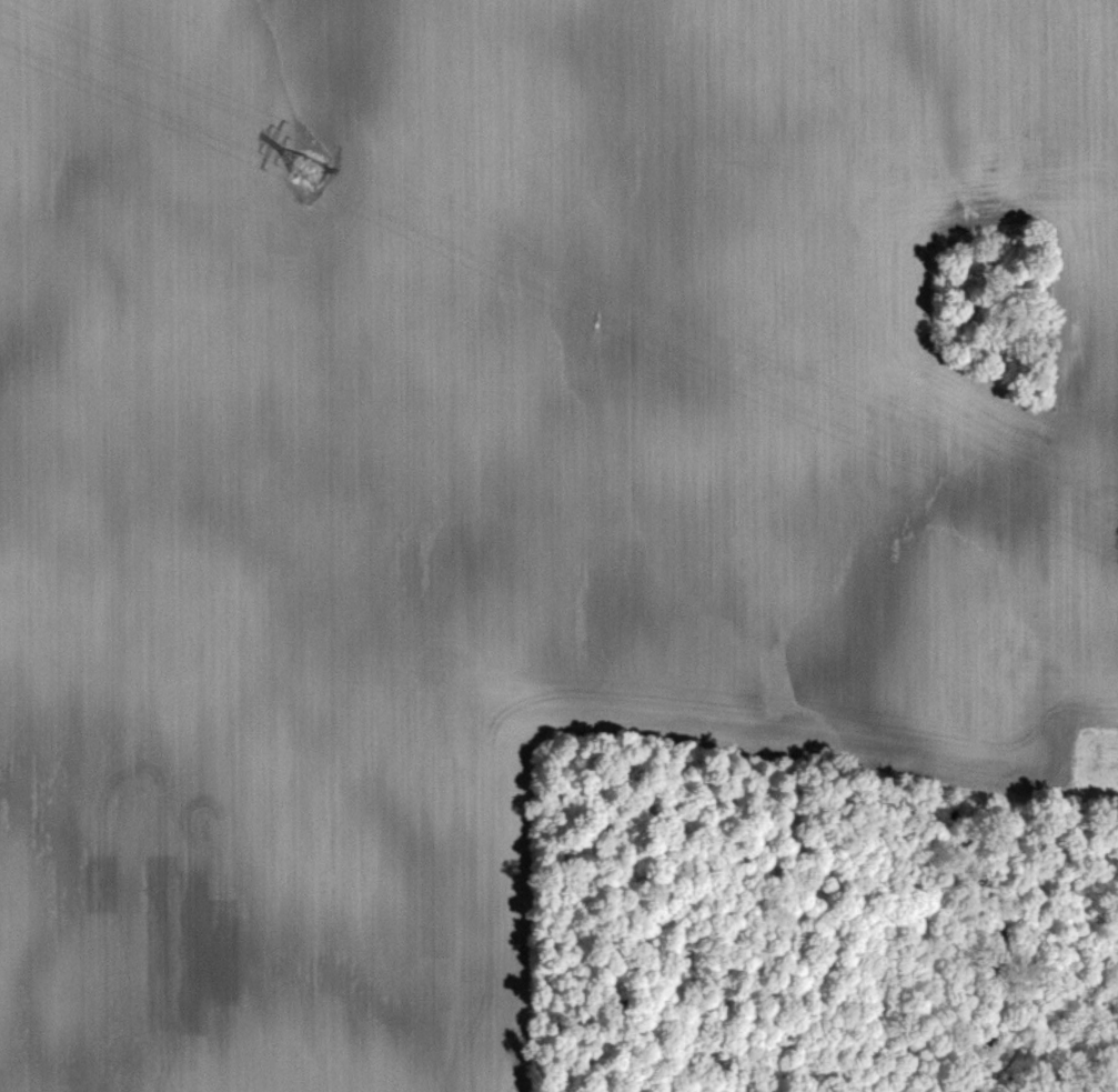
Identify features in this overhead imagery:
power tower: (308, 171)

